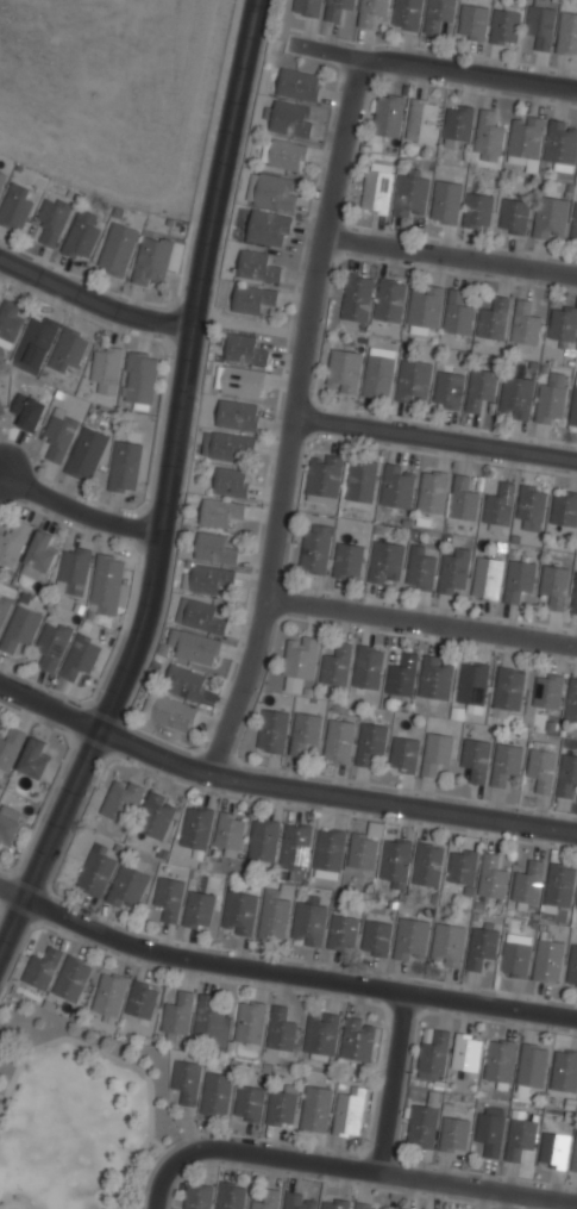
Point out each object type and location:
building: (307, 7)
building: (338, 8)
building: (371, 12)
building: (407, 13)
building: (439, 14)
building: (473, 21)
building: (541, 25)
building: (506, 26)
building: (567, 33)
road: (431, 68)
building: (297, 83)
building: (388, 113)
building: (290, 119)
building: (422, 119)
building: (458, 125)
building: (488, 137)
building: (525, 138)
building: (562, 144)
building: (286, 155)
building: (2, 180)
building: (377, 188)
building: (276, 192)
building: (412, 193)
building: (446, 201)
building: (17, 208)
building: (478, 210)
building: (514, 216)
building: (551, 217)
building: (54, 220)
building: (573, 225)
building: (269, 228)
building: (83, 235)
building: (117, 249)
road: (450, 256)
building: (152, 261)
building: (257, 266)
building: (358, 297)
building: (252, 298)
road: (93, 299)
building: (390, 300)
building: (425, 307)
building: (458, 312)
building: (494, 318)
building: (10, 320)
building: (562, 323)
building: (526, 325)
building: (37, 341)
building: (245, 349)
building: (69, 353)
building: (345, 370)
building: (106, 372)
building: (378, 375)
building: (140, 379)
building: (243, 380)
building: (414, 380)
building: (481, 387)
building: (449, 390)
building: (515, 397)
building: (552, 398)
building: (573, 407)
building: (2, 410)
building: (29, 412)
building: (239, 415)
road: (293, 418)
building: (59, 435)
road: (435, 438)
building: (227, 444)
building: (88, 455)
building: (125, 467)
building: (325, 476)
building: (362, 480)
building: (232, 481)
building: (399, 486)
road: (165, 487)
building: (433, 491)
building: (464, 499)
building: (500, 505)
building: (531, 506)
road: (77, 507)
building: (564, 507)
building: (221, 511)
building: (13, 546)
building: (218, 547)
building: (315, 548)
building: (39, 555)
building: (349, 560)
building: (387, 561)
building: (420, 568)
building: (454, 571)
building: (74, 573)
building: (207, 578)
building: (488, 578)
building: (519, 579)
building: (107, 584)
building: (554, 585)
building: (575, 600)
building: (200, 616)
building: (1, 619)
road: (421, 621)
building: (20, 629)
building: (51, 644)
building: (195, 647)
building: (81, 655)
building: (300, 661)
building: (337, 665)
building: (368, 666)
building: (402, 677)
building: (435, 677)
building: (188, 685)
building: (472, 685)
building: (508, 690)
building: (547, 691)
building: (571, 699)
road: (49, 708)
building: (174, 715)
building: (272, 730)
building: (305, 731)
building: (339, 740)
building: (370, 741)
building: (10, 747)
building: (437, 752)
building: (404, 754)
building: (476, 758)
building: (35, 759)
building: (506, 761)
building: (542, 768)
building: (567, 773)
road: (333, 796)
building: (121, 802)
building: (156, 817)
building: (8, 823)
building: (196, 828)
building: (231, 833)
building: (264, 840)
building: (296, 846)
building: (363, 850)
building: (330, 853)
building: (396, 861)
building: (428, 864)
building: (462, 865)
building: (96, 871)
building: (493, 875)
building: (527, 883)
building: (559, 885)
building: (128, 886)
building: (169, 898)
building: (199, 909)
building: (239, 912)
building: (274, 916)
building: (308, 924)
building: (344, 933)
building: (376, 937)
building: (412, 939)
building: (482, 943)
building: (449, 945)
building: (516, 954)
building: (548, 959)
building: (572, 966)
building: (42, 968)
road: (282, 973)
building: (73, 980)
building: (109, 997)
building: (143, 1002)
building: (177, 1016)
building: (209, 1018)
building: (250, 1023)
building: (282, 1030)
building: (321, 1034)
building: (358, 1037)
building: (468, 1051)
building: (433, 1053)
building: (500, 1060)
building: (532, 1066)
building: (564, 1070)
building: (187, 1082)
road: (391, 1083)
building: (217, 1095)
building: (249, 1104)
building: (282, 1107)
building: (316, 1108)
park: (76, 1113)
building: (349, 1113)
building: (422, 1126)
building: (490, 1133)
building: (454, 1135)
building: (521, 1136)
building: (553, 1149)
building: (575, 1155)
road: (347, 1167)
building: (231, 1196)
building: (197, 1197)
building: (265, 1201)
building: (299, 1201)
park: (14, 1202)
building: (334, 1203)
building: (368, 1205)
building: (401, 1208)

